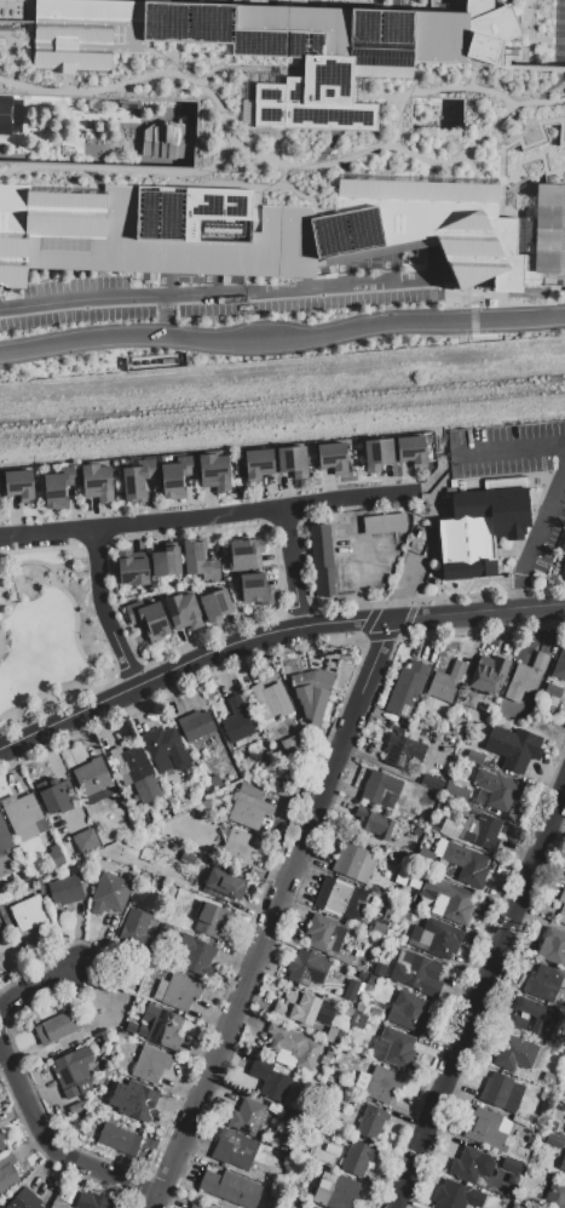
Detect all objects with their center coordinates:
road: (265, 1)
road: (319, 2)
road: (397, 4)
street lamp: (534, 8)
street lamp: (534, 28)
road: (527, 30)
road: (550, 30)
parking lot: (558, 30)
street lamp: (547, 34)
road: (541, 39)
road: (558, 40)
road: (18, 41)
road: (155, 53)
road: (6, 56)
road: (171, 58)
road: (502, 62)
road: (234, 65)
road: (518, 68)
road: (469, 71)
road: (410, 78)
road: (65, 81)
road: (454, 87)
road: (117, 93)
road: (536, 101)
road: (396, 104)
road: (119, 109)
park: (128, 110)
road: (83, 116)
road: (223, 127)
road: (537, 130)
building: (277, 138)
road: (272, 145)
road: (375, 145)
road: (498, 153)
road: (530, 156)
road: (467, 165)
road: (279, 174)
road: (286, 187)
street lamp: (365, 271)
street lamp: (188, 285)
parking lot: (220, 293)
road: (218, 296)
street lamp: (531, 303)
street lamp: (405, 304)
street lamp: (462, 305)
street lamp: (174, 310)
street lamp: (247, 315)
road: (165, 317)
street lamp: (131, 320)
street lamp: (74, 324)
street lamp: (21, 331)
street lamp: (501, 334)
road: (282, 340)
street lamp: (327, 349)
street lamp: (77, 355)
street lamp: (204, 356)
street lamp: (1, 367)
railway: (282, 400)
railway: (282, 414)
building: (411, 451)
road: (513, 451)
building: (376, 454)
building: (331, 457)
building: (292, 460)
building: (258, 464)
building: (213, 471)
building: (175, 476)
building: (137, 480)
building: (96, 482)
building: (18, 485)
street lamp: (357, 486)
building: (58, 487)
road: (286, 492)
street lamp: (276, 496)
road: (207, 499)
street lamp: (198, 505)
parking lot: (553, 506)
street lamp: (121, 513)
road: (260, 513)
street lamp: (42, 520)
building: (382, 523)
road: (546, 525)
building: (480, 531)
road: (47, 533)
road: (167, 533)
road: (289, 536)
road: (77, 539)
parking lot: (33, 543)
building: (564, 549)
building: (243, 554)
parking lot: (359, 557)
building: (197, 559)
building: (322, 560)
building: (165, 561)
road: (24, 563)
road: (356, 565)
building: (131, 567)
street lamp: (106, 571)
road: (100, 580)
road: (296, 584)
building: (254, 589)
road: (548, 589)
road: (519, 590)
road: (529, 590)
road: (398, 596)
road: (461, 596)
road: (12, 600)
road: (396, 603)
road: (370, 605)
building: (214, 606)
road: (348, 606)
road: (323, 608)
building: (183, 611)
road: (295, 612)
road: (356, 614)
road: (302, 618)
building: (148, 619)
street lamp: (77, 631)
road: (79, 634)
park: (48, 635)
road: (208, 635)
road: (380, 635)
road: (271, 636)
street lamp: (102, 640)
road: (122, 647)
road: (371, 664)
building: (559, 665)
street lamp: (100, 666)
road: (128, 670)
building: (488, 674)
road: (136, 676)
building: (525, 677)
building: (445, 682)
street lamp: (50, 685)
building: (307, 691)
road: (117, 692)
street lamp: (90, 693)
building: (403, 693)
building: (552, 693)
building: (468, 699)
street lamp: (139, 702)
building: (270, 702)
building: (236, 720)
street lamp: (25, 722)
street lamp: (69, 733)
building: (206, 739)
building: (290, 746)
building: (513, 746)
building: (166, 750)
building: (402, 751)
building: (473, 757)
street lamp: (15, 758)
building: (136, 772)
building: (91, 777)
building: (433, 778)
building: (213, 782)
building: (379, 786)
building: (497, 789)
building: (456, 791)
building: (51, 795)
building: (248, 807)
building: (23, 817)
road: (318, 826)
building: (377, 826)
building: (80, 830)
building: (480, 830)
building: (4, 837)
building: (238, 846)
building: (56, 858)
building: (354, 861)
building: (466, 864)
building: (225, 882)
building: (2, 883)
building: (399, 883)
building: (564, 883)
building: (64, 891)
building: (109, 893)
building: (338, 899)
building: (449, 900)
building: (561, 906)
building: (399, 910)
building: (29, 914)
building: (211, 920)
building: (377, 928)
building: (136, 929)
building: (1, 932)
building: (323, 933)
building: (434, 938)
building: (553, 946)
road: (236, 947)
road: (260, 949)
building: (195, 956)
building: (306, 968)
building: (377, 968)
building: (416, 972)
road: (469, 975)
building: (544, 981)
building: (369, 983)
road: (36, 989)
building: (177, 991)
building: (350, 992)
road: (482, 996)
building: (304, 1008)
road: (485, 1011)
building: (409, 1012)
building: (536, 1013)
building: (517, 1021)
building: (131, 1026)
building: (160, 1026)
building: (56, 1027)
building: (334, 1036)
building: (294, 1046)
building: (365, 1046)
building: (397, 1047)
building: (329, 1050)
building: (514, 1053)
building: (149, 1064)
building: (71, 1071)
building: (550, 1077)
building: (269, 1080)
building: (382, 1083)
building: (501, 1092)
building: (133, 1100)
building: (247, 1117)
building: (92, 1121)
building: (371, 1121)
building: (484, 1128)
building: (1, 1135)
building: (119, 1139)
building: (554, 1140)
building: (1, 1145)
building: (235, 1149)
road: (51, 1150)
building: (358, 1157)
road: (48, 1160)
building: (561, 1162)
building: (467, 1164)
building: (511, 1166)
building: (7, 1173)
building: (230, 1187)
building: (335, 1190)
building: (555, 1195)
building: (455, 1196)
building: (24, 1200)
building: (92, 1201)
building: (57, 1204)
building: (198, 1204)
building: (310, 1207)
building: (312, 1207)
building: (514, 1207)
building: (519, 1207)

